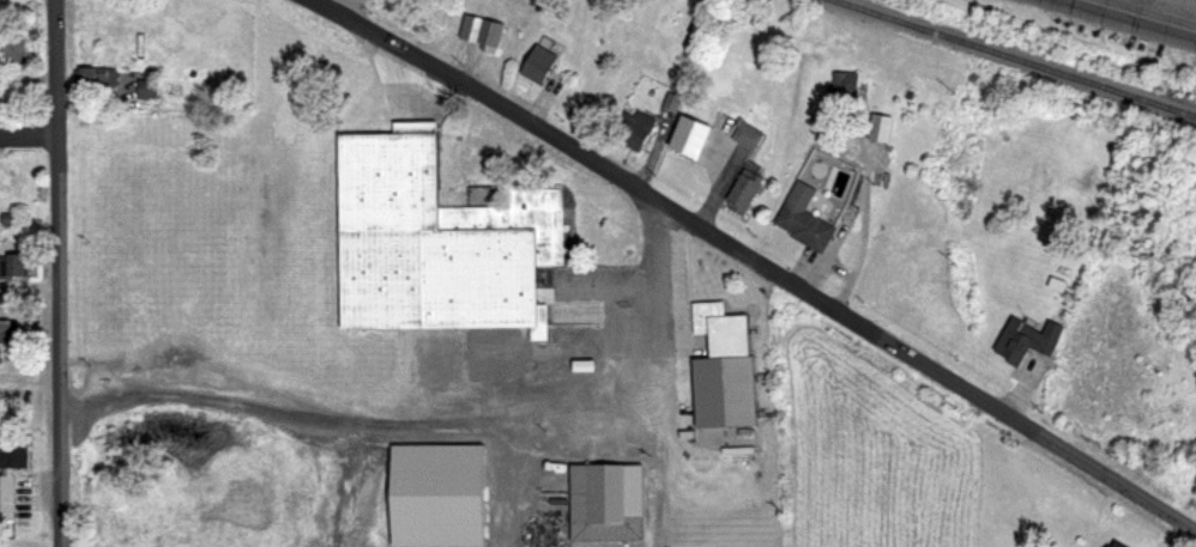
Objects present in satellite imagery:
road: (1089, 2)
road: (1134, 17)
building: (481, 34)
building: (16, 51)
railway: (1014, 57)
building: (539, 63)
building: (96, 78)
building: (841, 85)
building: (146, 89)
building: (640, 126)
building: (689, 133)
building: (748, 135)
road: (30, 138)
building: (10, 184)
road: (642, 192)
building: (741, 192)
building: (803, 215)
building: (5, 218)
building: (424, 235)
building: (18, 262)
road: (60, 273)
road: (30, 290)
building: (7, 335)
building: (1026, 335)
building: (724, 372)
road: (442, 425)
crop: (877, 449)
building: (13, 452)
road: (1083, 461)
building: (439, 492)
building: (5, 497)
building: (605, 503)
building: (1110, 543)
building: (1118, 543)

